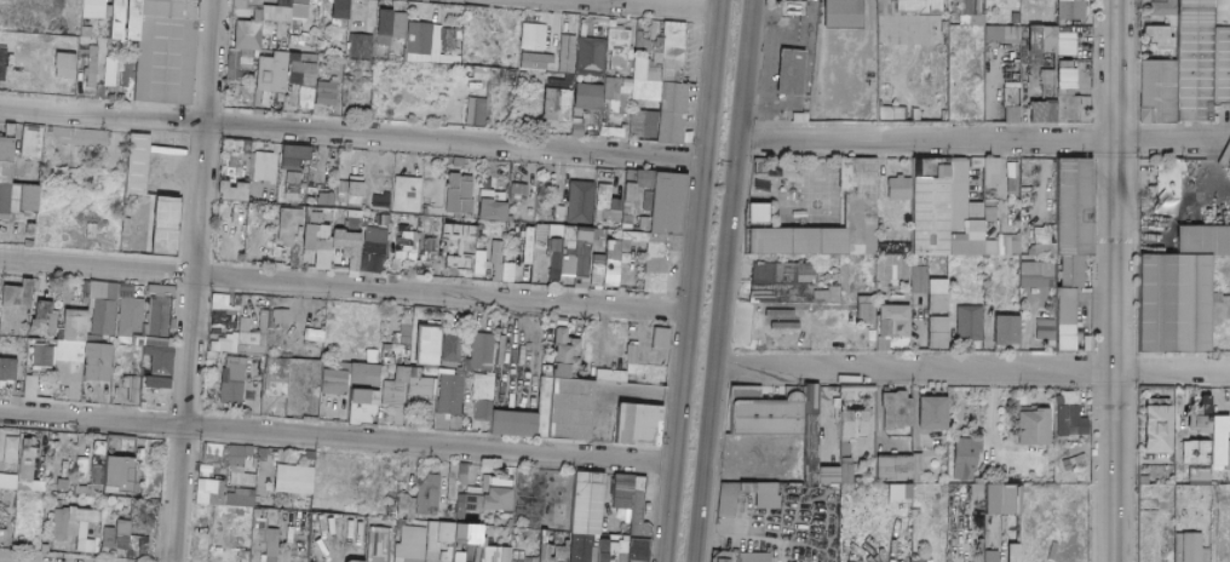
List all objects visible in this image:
gas station: (783, 71)
park: (827, 197)

